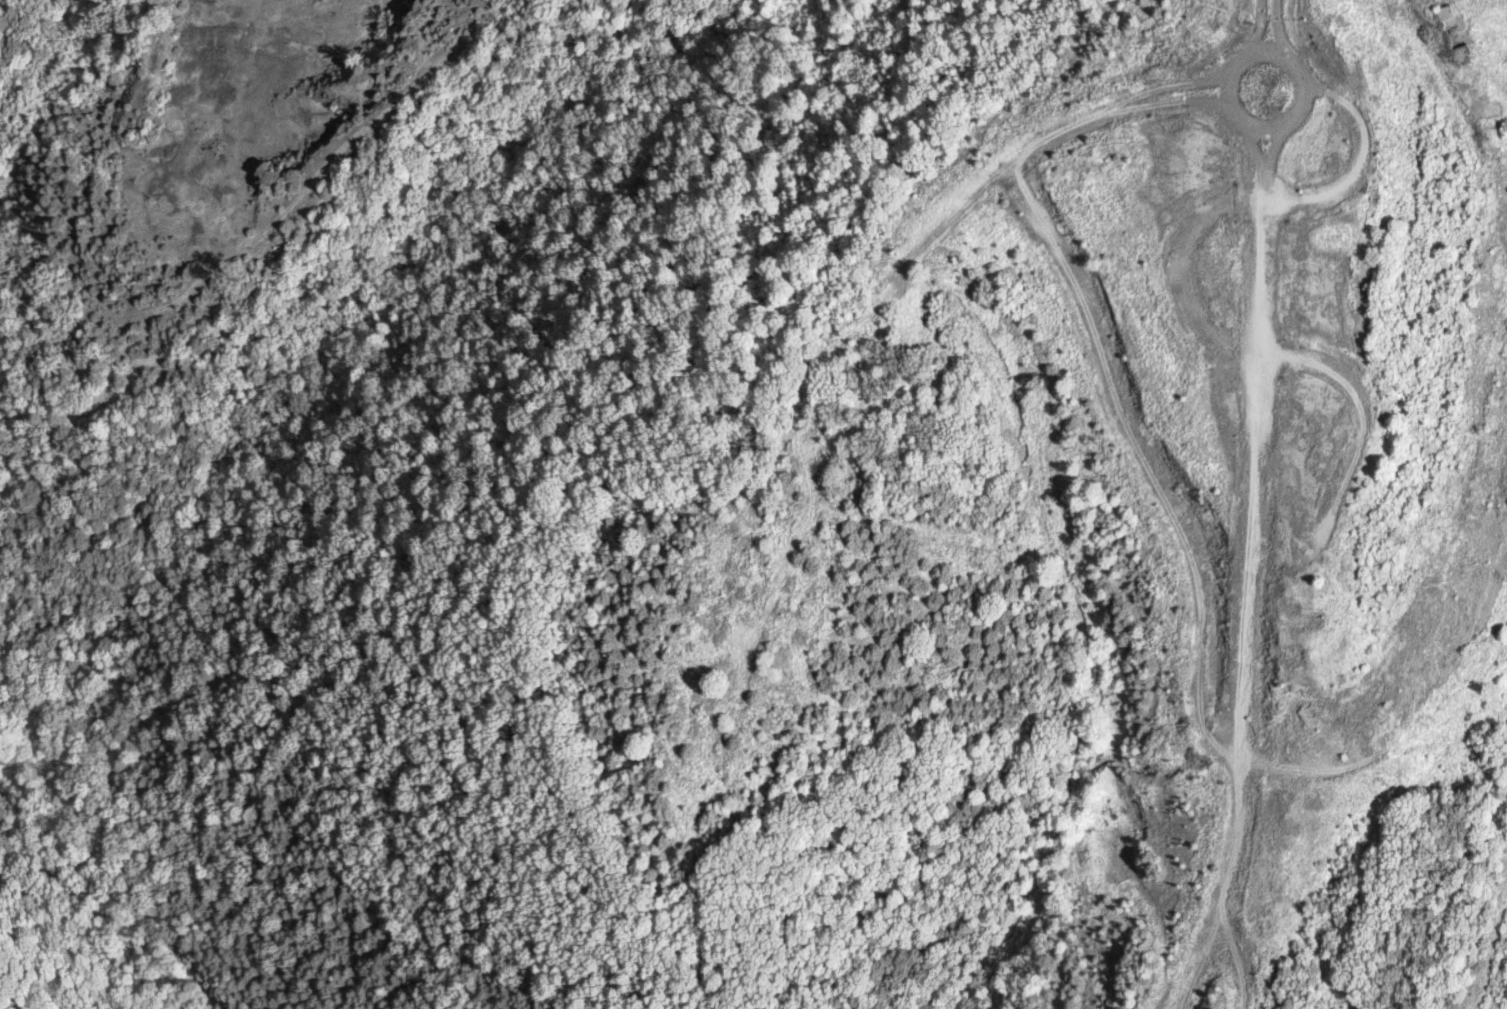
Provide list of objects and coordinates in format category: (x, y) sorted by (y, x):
road: (1258, 25)
road: (1276, 28)
road: (1231, 111)
road: (1255, 155)
road: (1248, 545)
road: (1229, 952)
road: (1199, 956)

